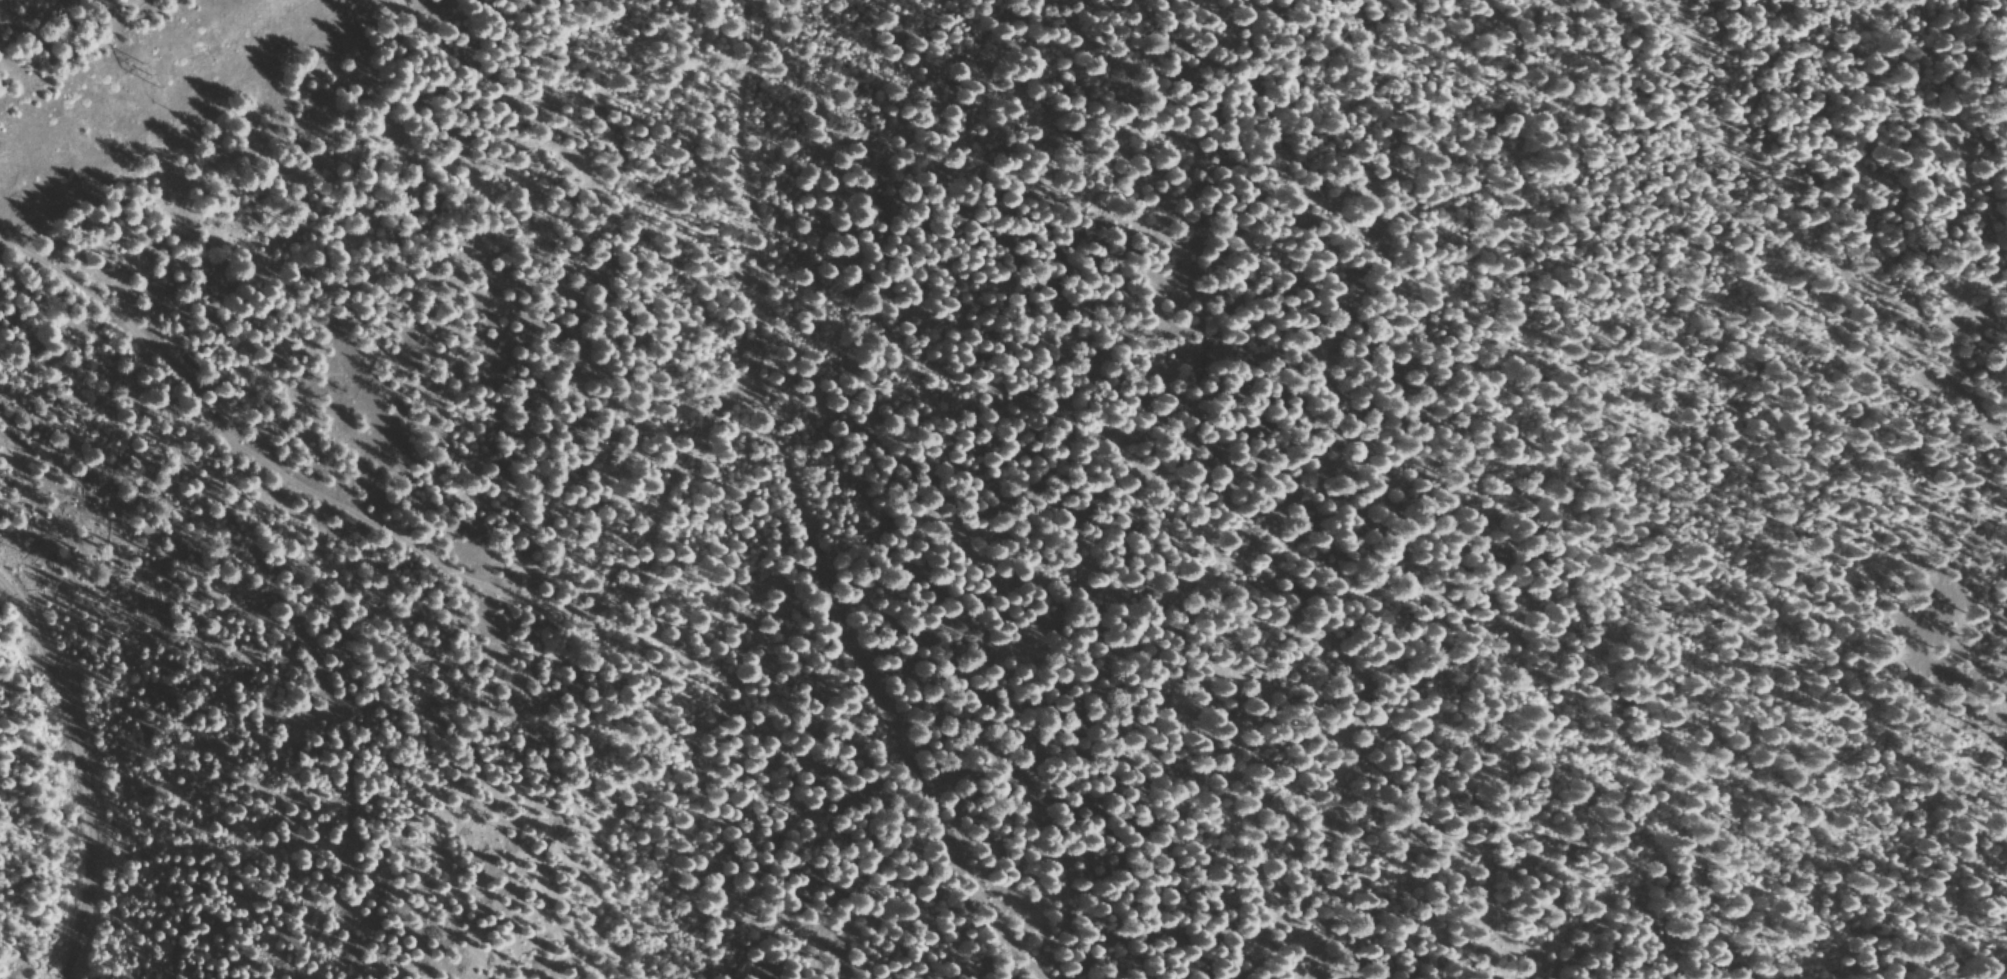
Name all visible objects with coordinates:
power tower: (148, 69)
road: (824, 286)
road: (555, 604)
road: (130, 752)

